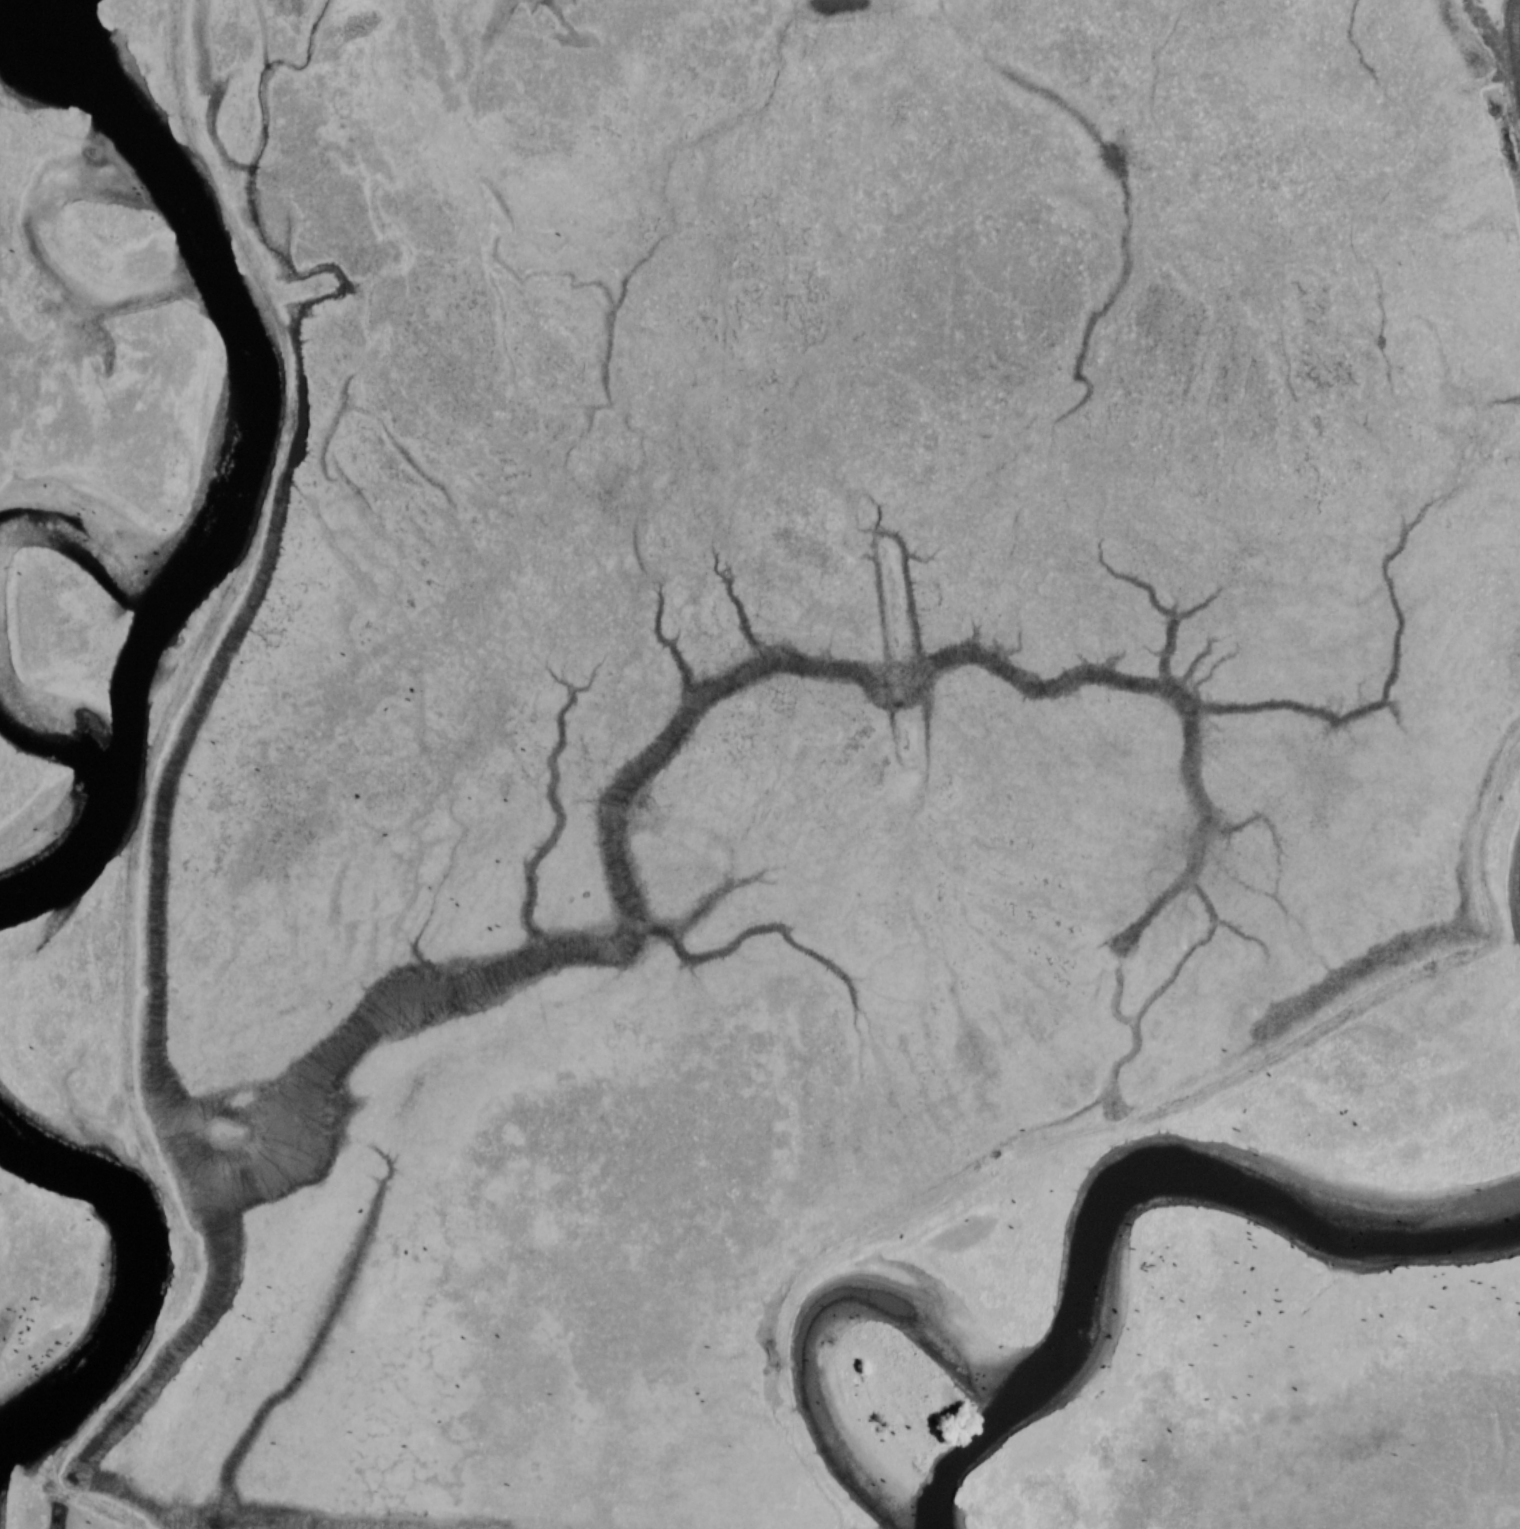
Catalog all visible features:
river: (1078, 1329)

